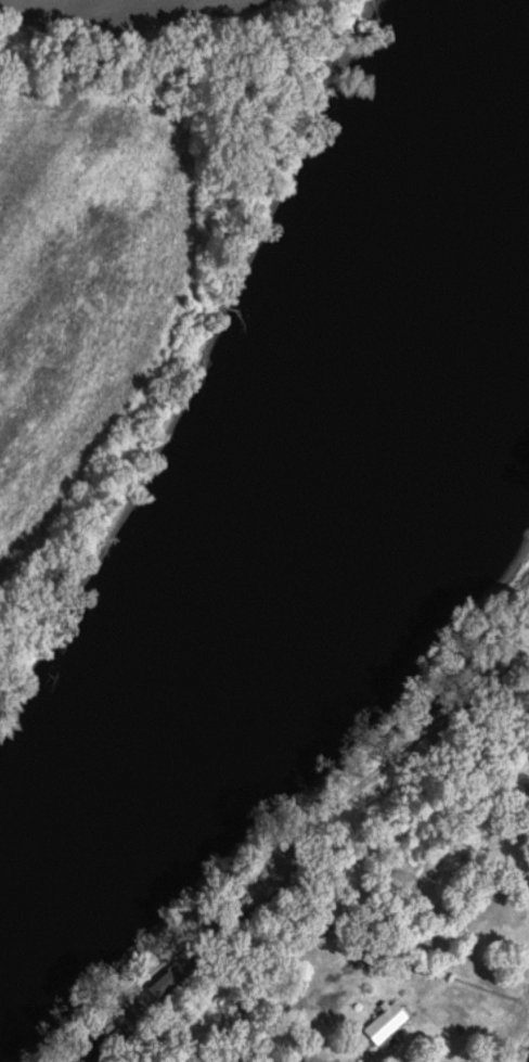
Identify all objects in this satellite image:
building: (526, 620)
river: (288, 663)
road: (310, 846)
building: (386, 1024)

